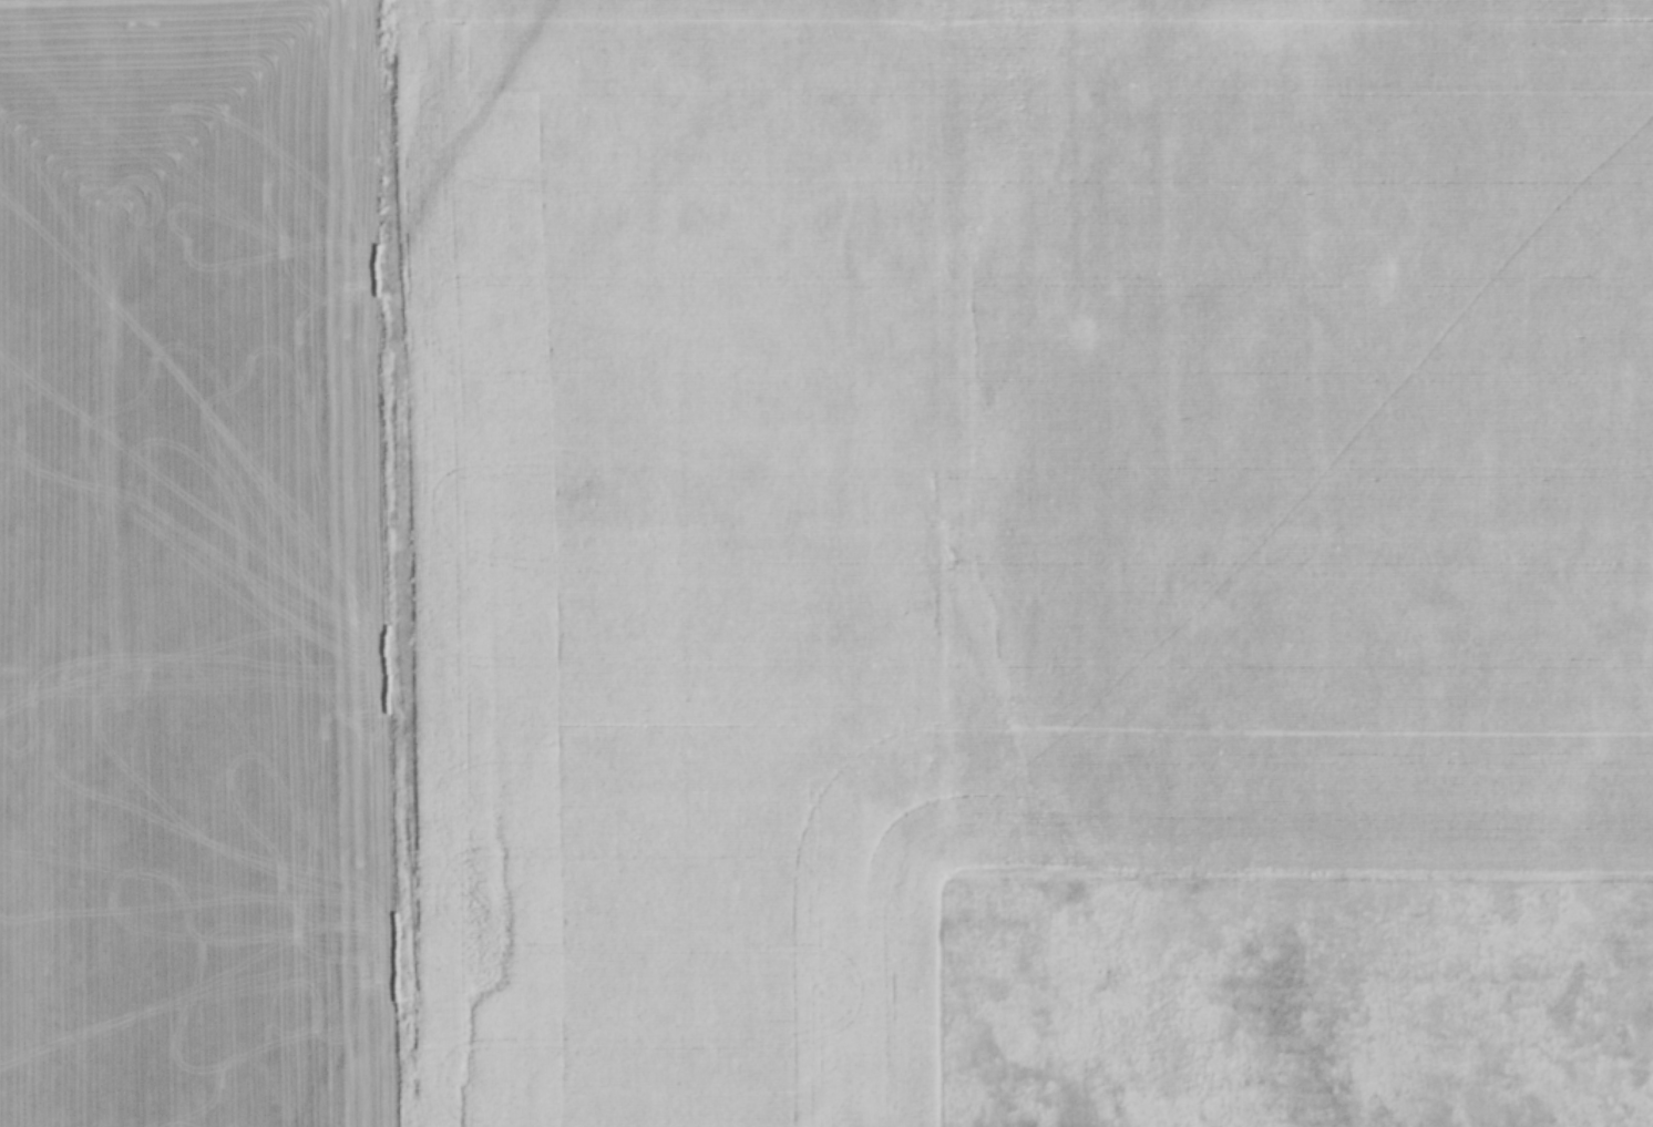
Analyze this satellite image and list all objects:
building: (1068, 434)

